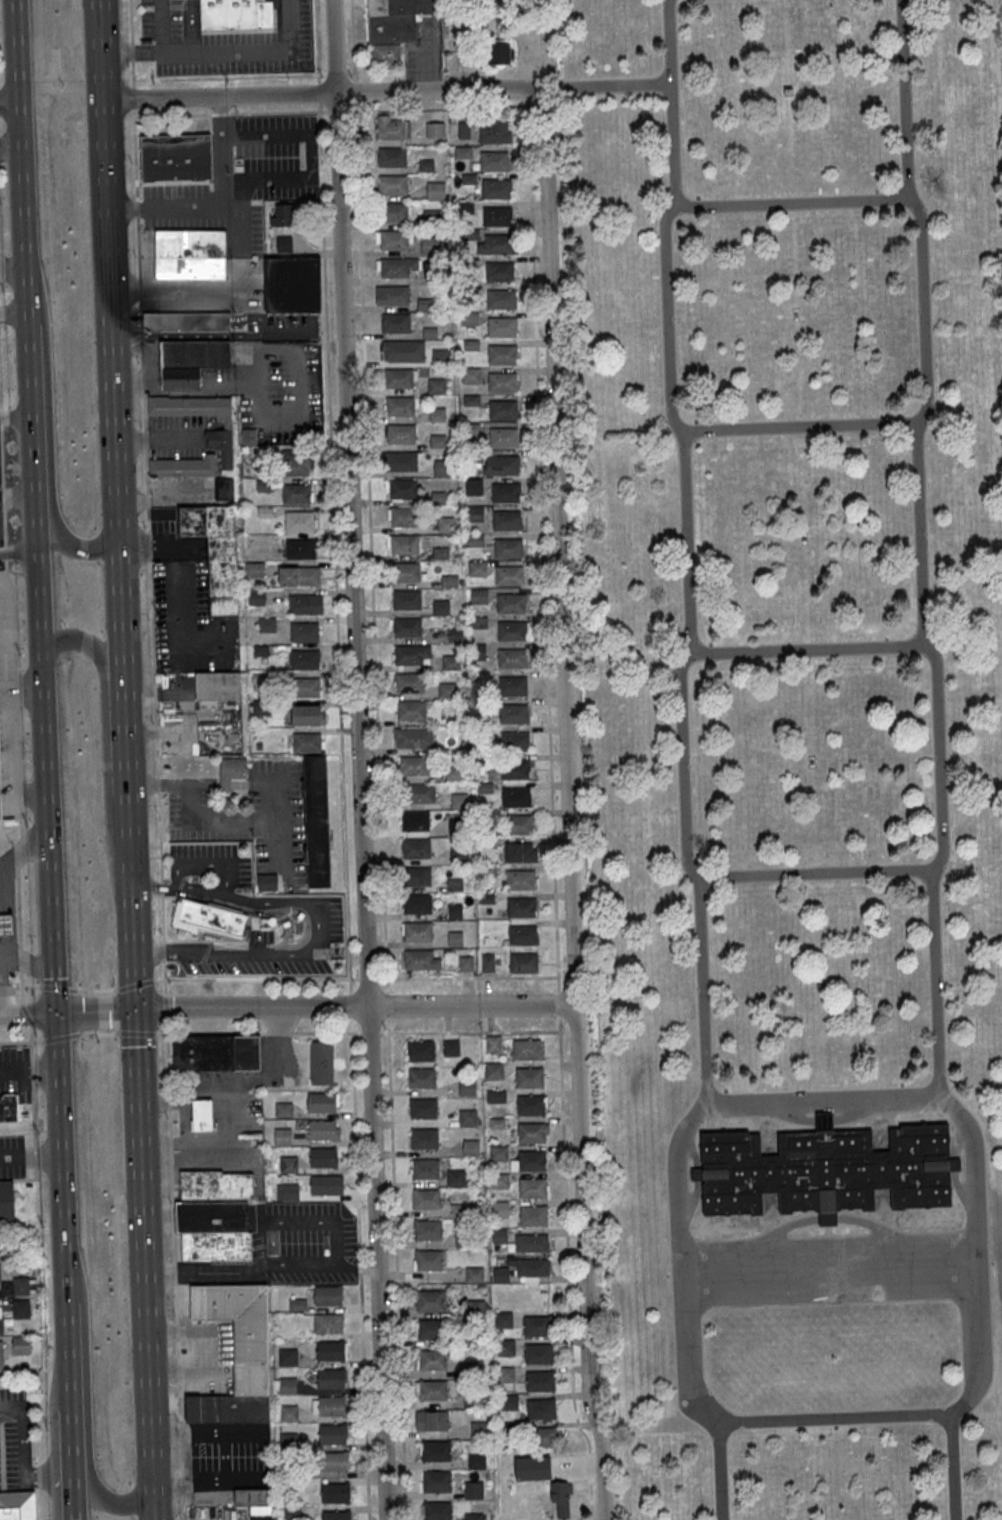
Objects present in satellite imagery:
building: (235, 14)
building: (394, 19)
road: (435, 45)
parking lot: (424, 49)
road: (99, 50)
road: (251, 50)
road: (16, 52)
building: (485, 53)
road: (160, 54)
road: (280, 75)
road: (607, 86)
road: (438, 90)
road: (354, 91)
road: (218, 97)
road: (528, 97)
road: (902, 98)
road: (670, 102)
road: (9, 104)
road: (536, 105)
road: (330, 111)
building: (392, 127)
building: (434, 130)
building: (466, 130)
building: (493, 133)
building: (392, 156)
building: (494, 161)
building: (170, 162)
parking lot: (239, 179)
building: (392, 184)
building: (495, 188)
building: (435, 190)
road: (904, 197)
building: (465, 207)
road: (21, 209)
building: (393, 212)
building: (282, 214)
building: (496, 215)
building: (431, 218)
building: (393, 240)
building: (283, 243)
building: (498, 243)
building: (430, 245)
building: (190, 254)
building: (393, 267)
building: (499, 271)
building: (291, 284)
road: (178, 286)
building: (391, 295)
building: (501, 298)
road: (253, 310)
road: (14, 314)
road: (110, 315)
building: (469, 318)
building: (186, 321)
building: (396, 322)
building: (501, 326)
road: (183, 336)
building: (501, 354)
building: (439, 356)
building: (190, 361)
building: (471, 375)
building: (399, 378)
building: (502, 382)
building: (436, 385)
building: (399, 406)
building: (503, 410)
road: (23, 422)
building: (401, 433)
building: (503, 438)
building: (219, 439)
road: (153, 441)
road: (48, 455)
building: (403, 461)
building: (295, 462)
building: (503, 465)
building: (443, 468)
building: (194, 473)
building: (473, 486)
road: (35, 487)
road: (333, 488)
building: (403, 488)
road: (145, 489)
road: (2, 490)
building: (505, 492)
building: (296, 493)
road: (145, 501)
building: (474, 513)
building: (403, 516)
building: (506, 520)
building: (299, 521)
building: (445, 524)
road: (917, 534)
road: (542, 541)
road: (687, 542)
building: (405, 544)
building: (300, 548)
building: (508, 548)
building: (216, 553)
building: (476, 568)
building: (254, 569)
building: (406, 571)
building: (298, 575)
building: (509, 575)
building: (478, 596)
building: (256, 597)
building: (407, 599)
building: (305, 603)
building: (510, 603)
parking lot: (185, 612)
building: (407, 627)
building: (304, 631)
building: (511, 631)
building: (478, 651)
building: (411, 654)
road: (374, 656)
building: (304, 658)
building: (512, 658)
road: (935, 667)
building: (408, 682)
building: (512, 685)
building: (218, 686)
building: (305, 687)
building: (448, 689)
road: (123, 706)
parking lot: (7, 709)
building: (410, 709)
building: (513, 713)
building: (308, 714)
road: (106, 736)
building: (410, 738)
building: (307, 741)
building: (514, 741)
park: (793, 743)
road: (358, 759)
road: (566, 760)
building: (413, 765)
building: (514, 768)
building: (231, 771)
road: (203, 783)
road: (225, 783)
building: (421, 793)
building: (516, 796)
building: (458, 801)
road: (217, 820)
building: (316, 820)
building: (415, 820)
building: (517, 824)
road: (49, 836)
building: (416, 847)
road: (23, 850)
building: (521, 852)
building: (459, 855)
road: (204, 864)
building: (417, 876)
building: (520, 879)
building: (267, 882)
building: (418, 903)
building: (521, 907)
building: (454, 911)
building: (209, 918)
building: (6, 925)
road: (320, 926)
building: (417, 931)
building: (522, 934)
road: (18, 935)
building: (455, 939)
road: (131, 945)
road: (28, 959)
building: (418, 959)
building: (487, 962)
building: (523, 962)
building: (466, 963)
road: (565, 977)
road: (350, 978)
road: (933, 982)
road: (0, 983)
road: (702, 989)
road: (470, 1006)
road: (251, 1007)
traffic signals: (135, 1008)
road: (96, 1010)
road: (28, 1013)
traffic signals: (57, 1013)
road: (567, 1031)
road: (98, 1033)
road: (141, 1033)
road: (54, 1037)
road: (15, 1041)
building: (492, 1043)
building: (451, 1047)
building: (526, 1049)
building: (421, 1050)
building: (216, 1052)
building: (321, 1062)
building: (493, 1070)
building: (422, 1077)
building: (529, 1077)
road: (31, 1084)
building: (467, 1087)
building: (496, 1096)
building: (321, 1102)
building: (530, 1105)
building: (8, 1108)
building: (422, 1108)
building: (283, 1109)
road: (859, 1109)
road: (783, 1112)
building: (202, 1115)
building: (467, 1118)
road: (823, 1120)
building: (322, 1129)
building: (531, 1132)
building: (282, 1136)
building: (424, 1138)
road: (955, 1139)
building: (470, 1147)
road: (690, 1147)
road: (61, 1152)
parking lot: (11, 1156)
road: (31, 1156)
building: (322, 1157)
road: (355, 1157)
building: (529, 1161)
road: (954, 1163)
building: (288, 1164)
building: (425, 1168)
building: (825, 1168)
road: (696, 1173)
building: (455, 1177)
building: (499, 1180)
building: (215, 1184)
building: (324, 1184)
building: (533, 1188)
road: (564, 1191)
building: (287, 1192)
road: (960, 1194)
building: (426, 1199)
building: (6, 1201)
road: (690, 1203)
building: (499, 1208)
building: (533, 1215)
road: (827, 1217)
road: (335, 1222)
road: (868, 1224)
road: (783, 1228)
building: (428, 1229)
building: (214, 1230)
road: (829, 1241)
building: (531, 1242)
road: (144, 1248)
building: (428, 1259)
building: (531, 1268)
road: (208, 1272)
building: (473, 1274)
building: (500, 1275)
road: (175, 1276)
road: (396, 1276)
building: (0, 1277)
building: (21, 1285)
building: (327, 1295)
building: (429, 1299)
building: (297, 1305)
building: (21, 1308)
building: (475, 1308)
building: (1, 1318)
building: (503, 1319)
building: (328, 1323)
building: (536, 1325)
building: (239, 1328)
road: (193, 1329)
building: (431, 1329)
building: (21, 1345)
building: (505, 1347)
building: (329, 1350)
road: (69, 1353)
building: (538, 1353)
road: (976, 1354)
building: (1, 1356)
building: (287, 1356)
building: (432, 1359)
road: (172, 1374)
building: (505, 1374)
building: (330, 1378)
building: (539, 1381)
building: (288, 1385)
building: (433, 1390)
building: (474, 1400)
building: (508, 1402)
building: (331, 1406)
building: (227, 1408)
building: (540, 1408)
building: (288, 1413)
building: (433, 1420)
road: (87, 1426)
building: (480, 1429)
road: (204, 1430)
building: (332, 1434)
building: (544, 1437)
building: (436, 1450)
building: (334, 1461)
building: (476, 1461)
road: (23, 1463)
road: (949, 1466)
road: (73, 1467)
road: (720, 1470)
road: (82, 1480)
building: (435, 1480)
building: (473, 1490)
building: (335, 1492)
building: (561, 1497)
road: (25, 1500)
building: (255, 1502)
road: (154, 1504)
building: (437, 1510)
building: (11, 1512)
building: (291, 1513)
building: (335, 1515)
building: (473, 1516)

